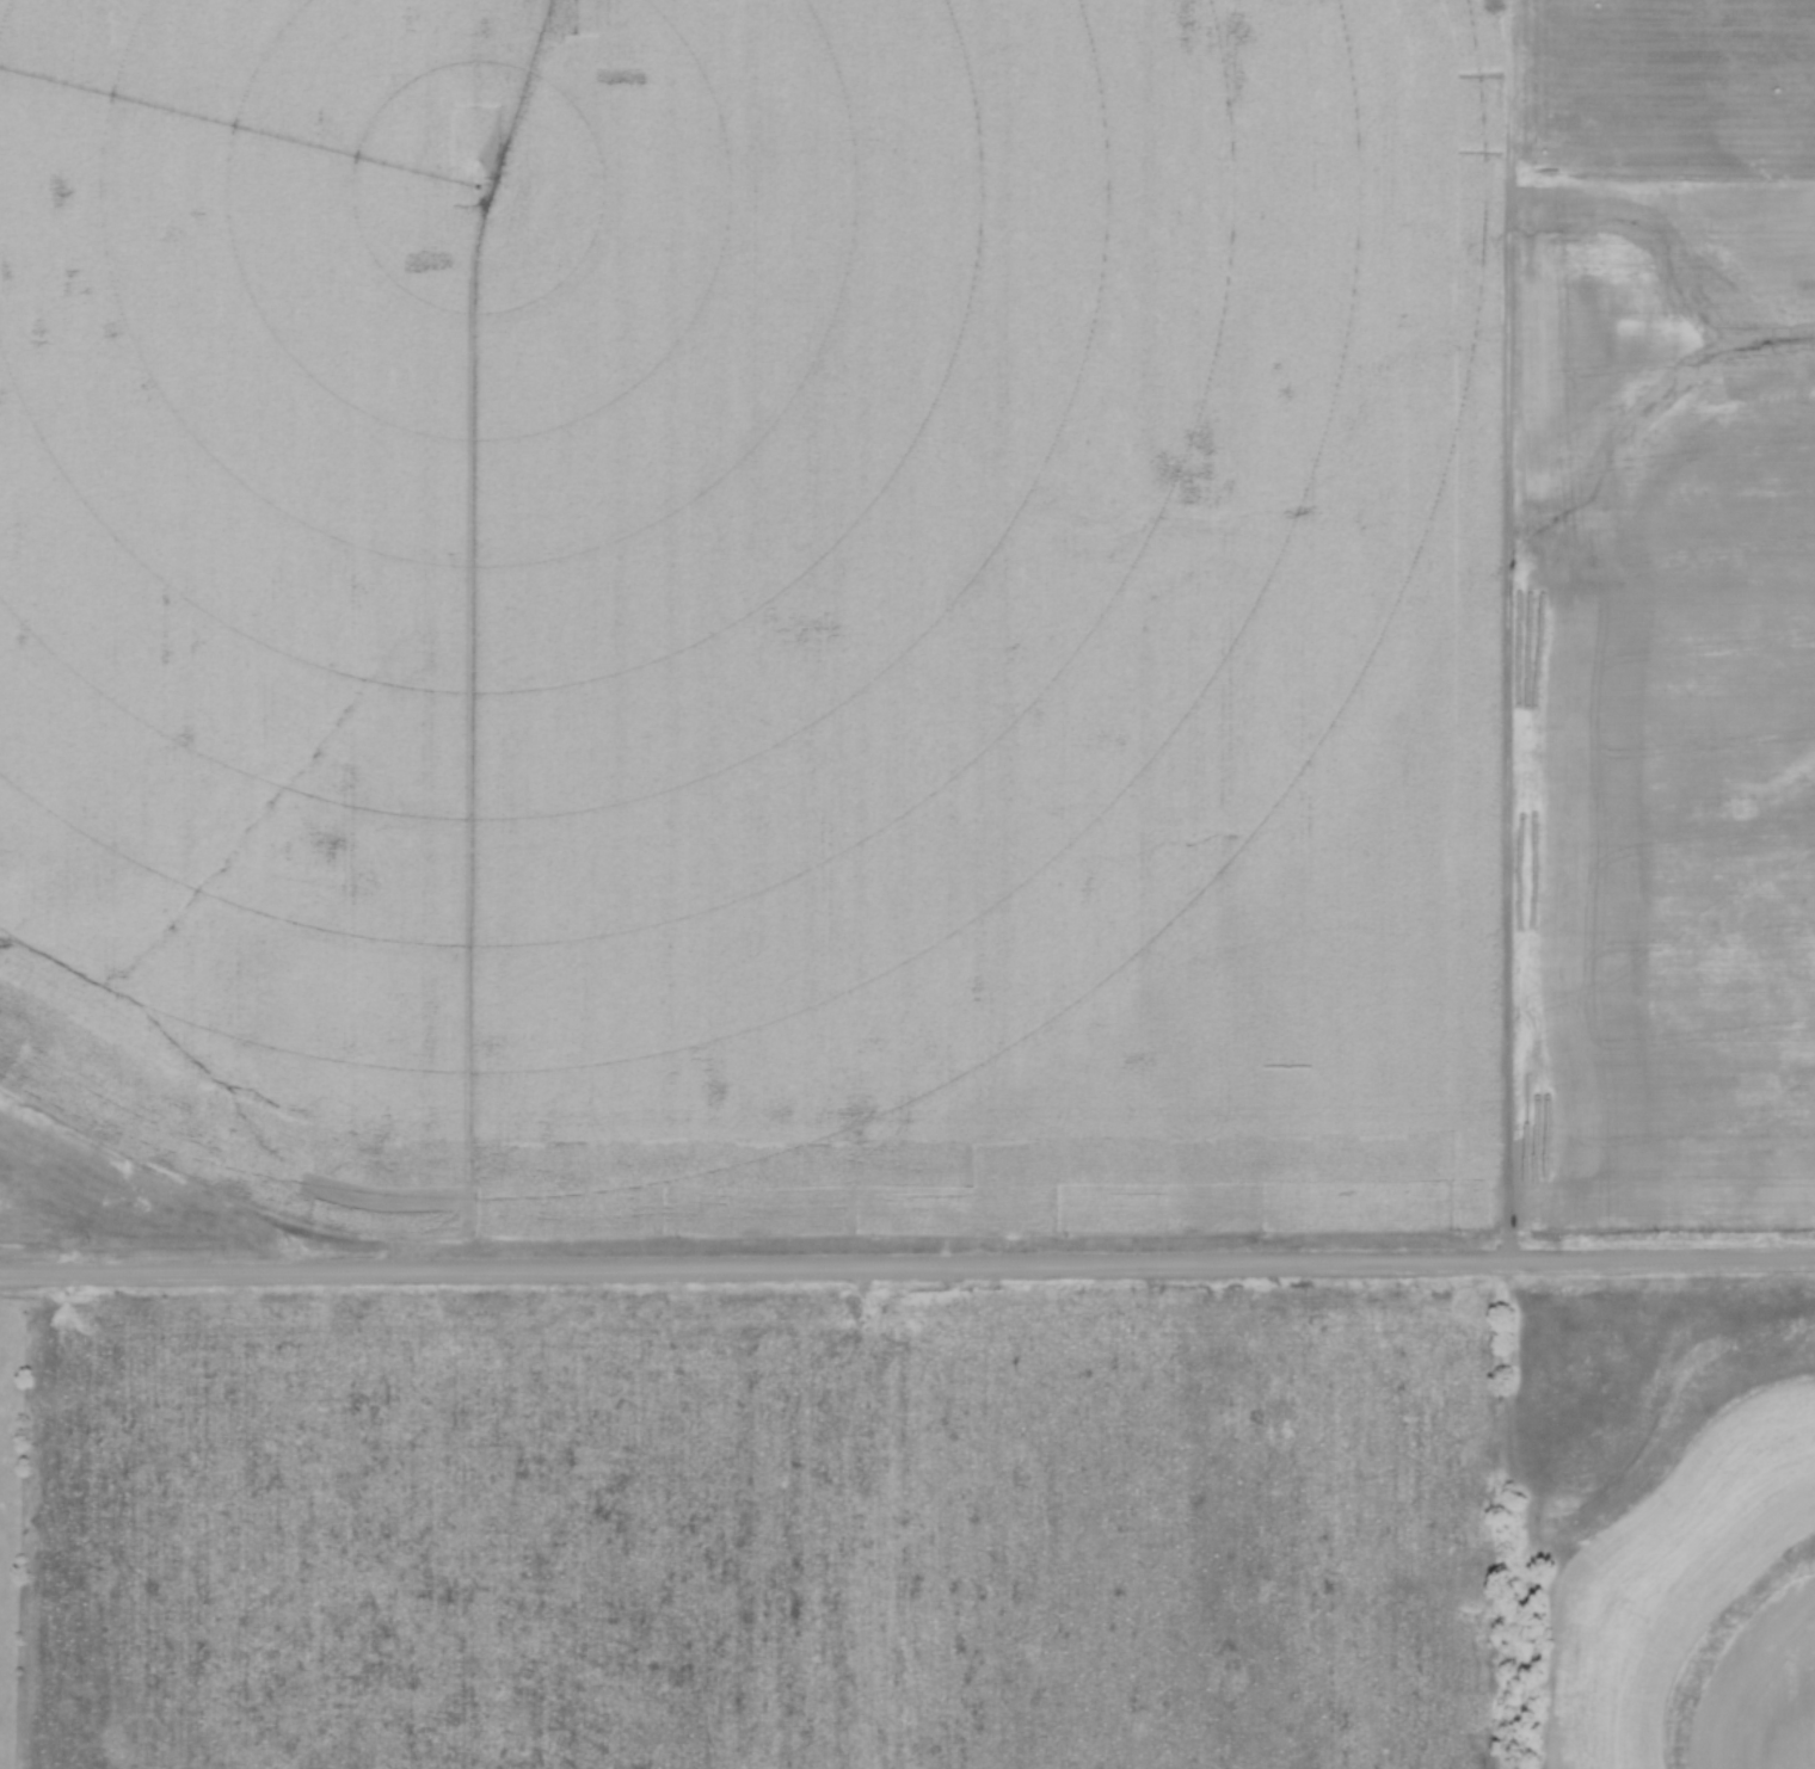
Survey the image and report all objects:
road: (907, 1272)

